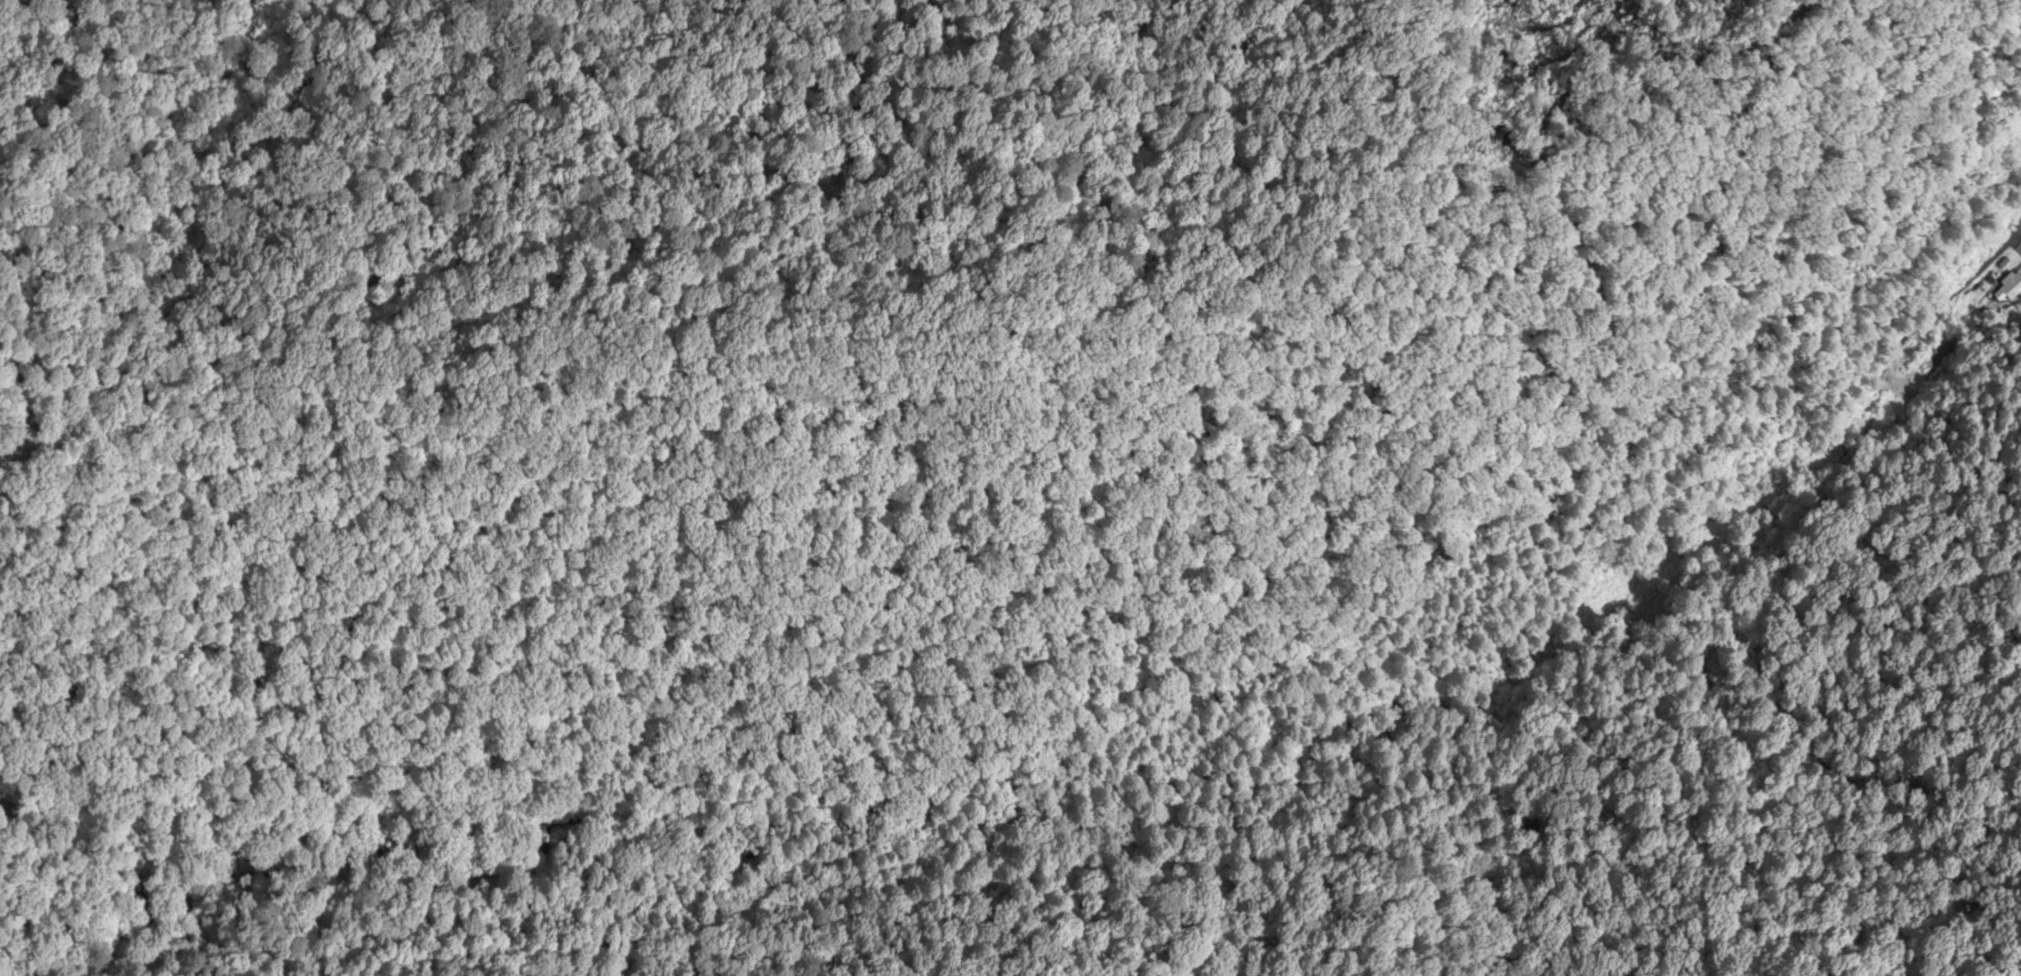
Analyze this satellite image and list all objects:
road: (1971, 350)

